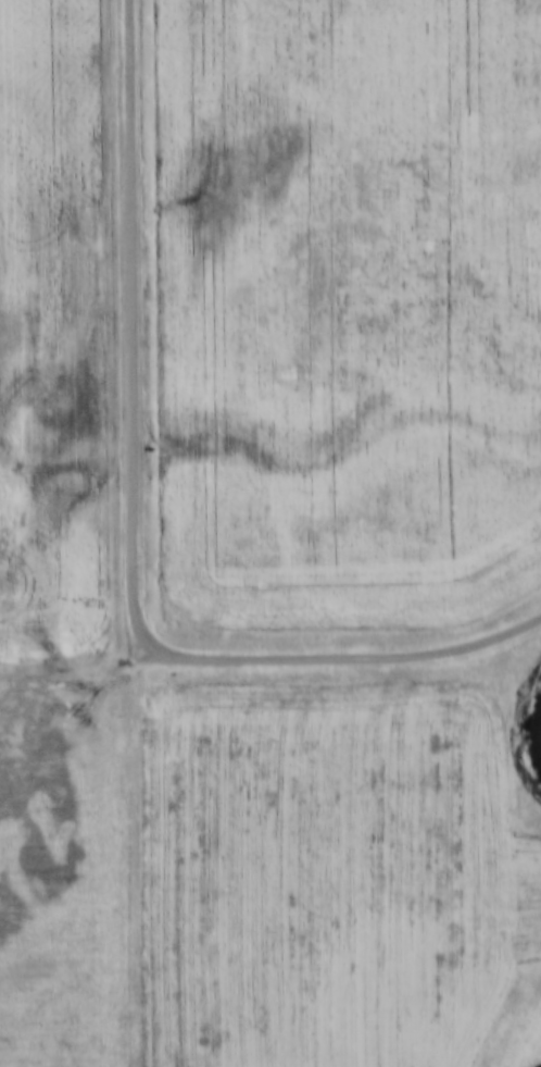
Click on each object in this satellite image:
road: (136, 522)

